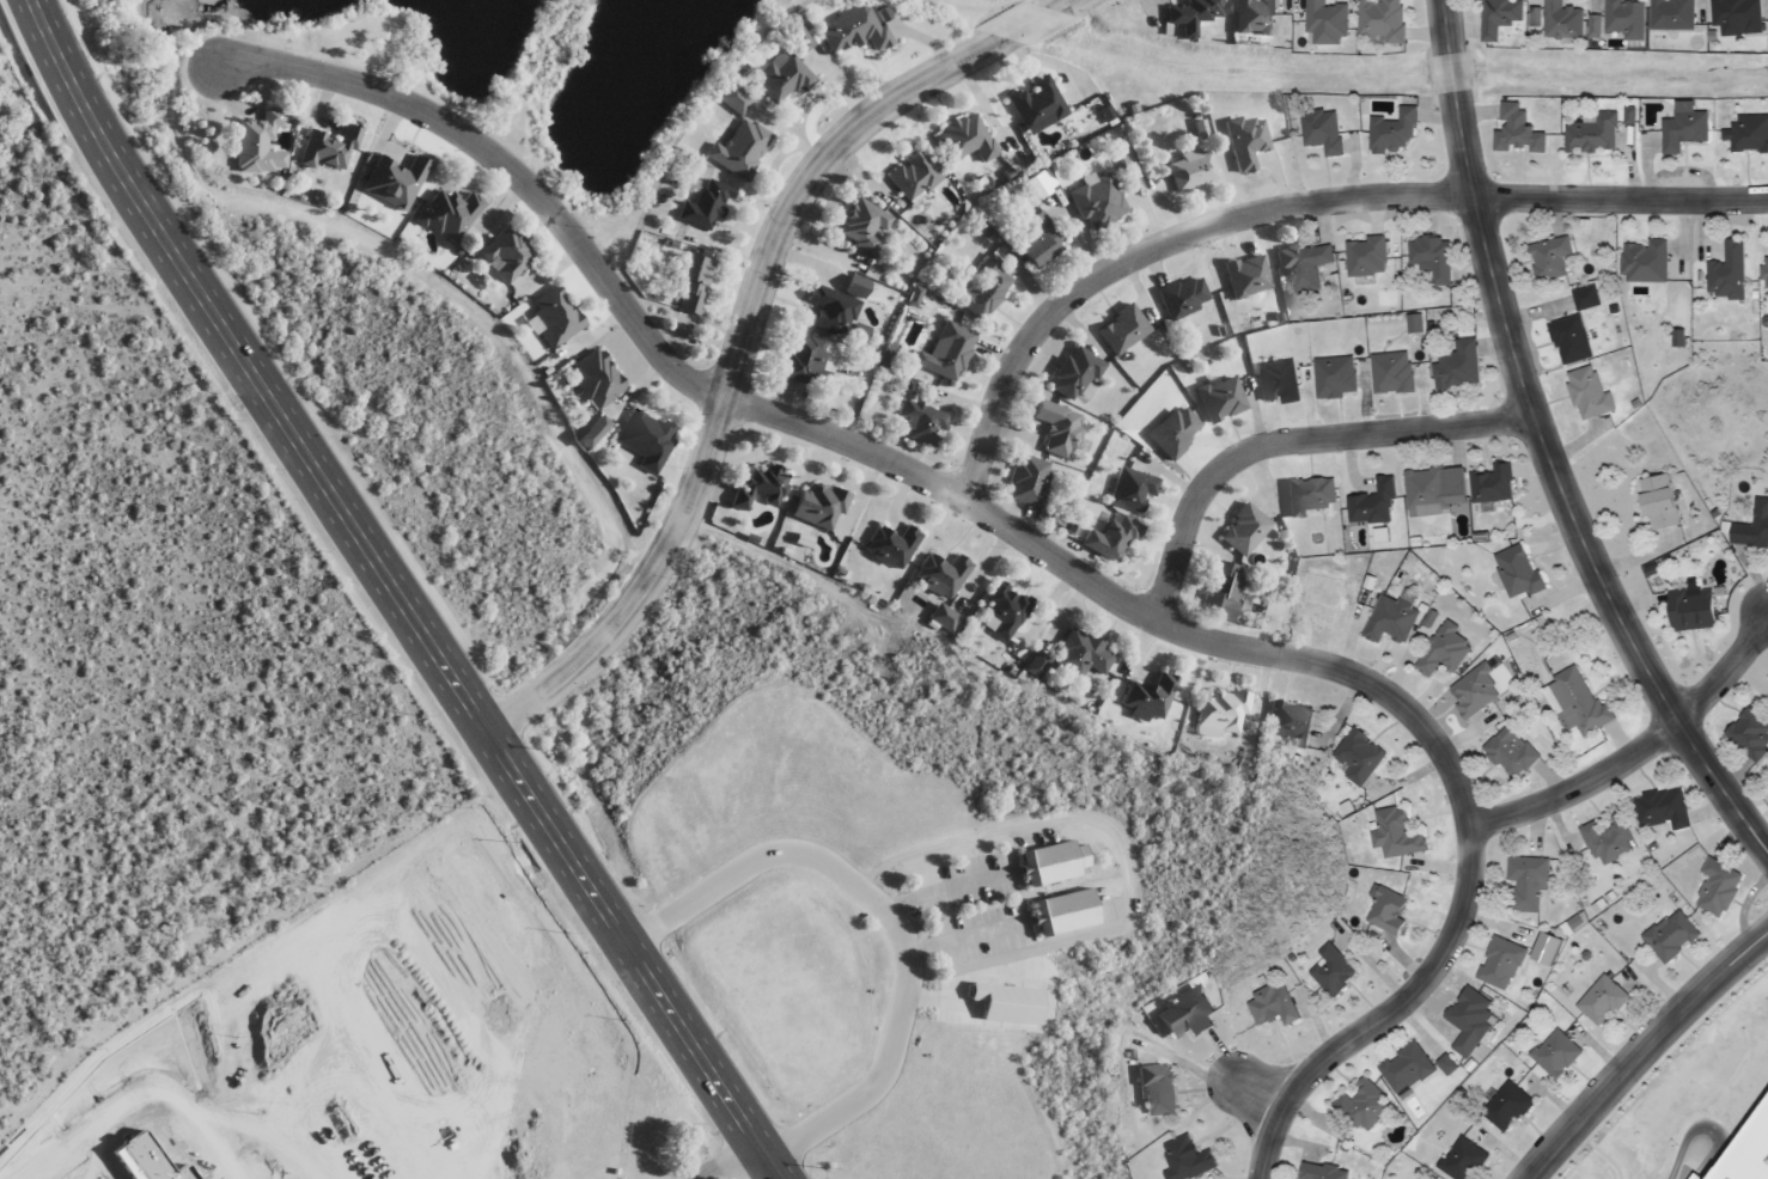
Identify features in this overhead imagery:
building: (1185, 14)
building: (1668, 14)
building: (1731, 14)
building: (1534, 16)
building: (1248, 17)
building: (1494, 17)
building: (1622, 18)
building: (1378, 19)
building: (1557, 20)
building: (1323, 22)
building: (1593, 25)
building: (846, 29)
building: (774, 77)
building: (1030, 103)
building: (1197, 128)
building: (1679, 129)
building: (1317, 130)
building: (1512, 130)
building: (1389, 132)
building: (1746, 133)
building: (1589, 134)
building: (958, 140)
building: (1240, 141)
building: (252, 143)
building: (734, 149)
building: (322, 151)
building: (1184, 170)
building: (908, 176)
building: (389, 182)
building: (1036, 182)
building: (1092, 202)
road: (1291, 204)
building: (699, 207)
building: (441, 213)
building: (856, 226)
building: (1032, 242)
building: (500, 255)
building: (1365, 256)
building: (1427, 256)
building: (1546, 257)
building: (1640, 261)
building: (1299, 264)
building: (1724, 271)
building: (1762, 271)
building: (1243, 276)
building: (687, 283)
building: (853, 286)
building: (977, 288)
building: (1178, 297)
building: (1580, 298)
building: (827, 311)
building: (1677, 312)
building: (547, 318)
building: (1413, 322)
building: (1116, 330)
road: (739, 334)
building: (1565, 340)
building: (940, 353)
building: (801, 362)
building: (1452, 365)
building: (1390, 371)
building: (1067, 374)
building: (1333, 375)
building: (591, 379)
building: (1275, 380)
building: (1584, 392)
building: (1215, 401)
building: (914, 423)
building: (1051, 428)
building: (1172, 430)
building: (585, 432)
road: (843, 439)
building: (639, 440)
road: (1288, 441)
road: (1546, 447)
building: (1023, 481)
building: (1492, 483)
building: (754, 485)
building: (1126, 489)
building: (1421, 491)
building: (1304, 495)
building: (1654, 501)
building: (1368, 503)
building: (812, 506)
building: (1750, 526)
building: (1238, 530)
building: (1104, 538)
building: (886, 546)
building: (1512, 572)
building: (935, 576)
building: (1215, 589)
road: (391, 593)
building: (1687, 609)
building: (999, 610)
building: (945, 611)
building: (1386, 618)
building: (1440, 650)
building: (1075, 654)
building: (1032, 666)
building: (1470, 690)
building: (1145, 696)
building: (1572, 702)
building: (1217, 714)
building: (1284, 722)
building: (1745, 734)
road: (1642, 747)
building: (1507, 751)
building: (1354, 756)
building: (1658, 808)
building: (1391, 833)
building: (1603, 841)
building: (1047, 863)
building: (1523, 882)
building: (1713, 886)
building: (1382, 909)
building: (1059, 912)
road: (889, 917)
building: (1666, 935)
building: (1544, 947)
building: (1496, 963)
building: (1327, 970)
building: (1597, 1001)
building: (1002, 1002)
building: (1267, 1004)
building: (1184, 1012)
building: (1464, 1013)
road: (1382, 1014)
road: (1641, 1050)
building: (1550, 1052)
building: (1445, 1063)
building: (1402, 1068)
building: (1153, 1091)
building: (1358, 1106)
building: (1502, 1106)
road: (1707, 1126)
building: (1745, 1148)
building: (1181, 1159)
building: (1458, 1160)
road: (743, 1168)
building: (1316, 1171)
building: (1694, 1175)

